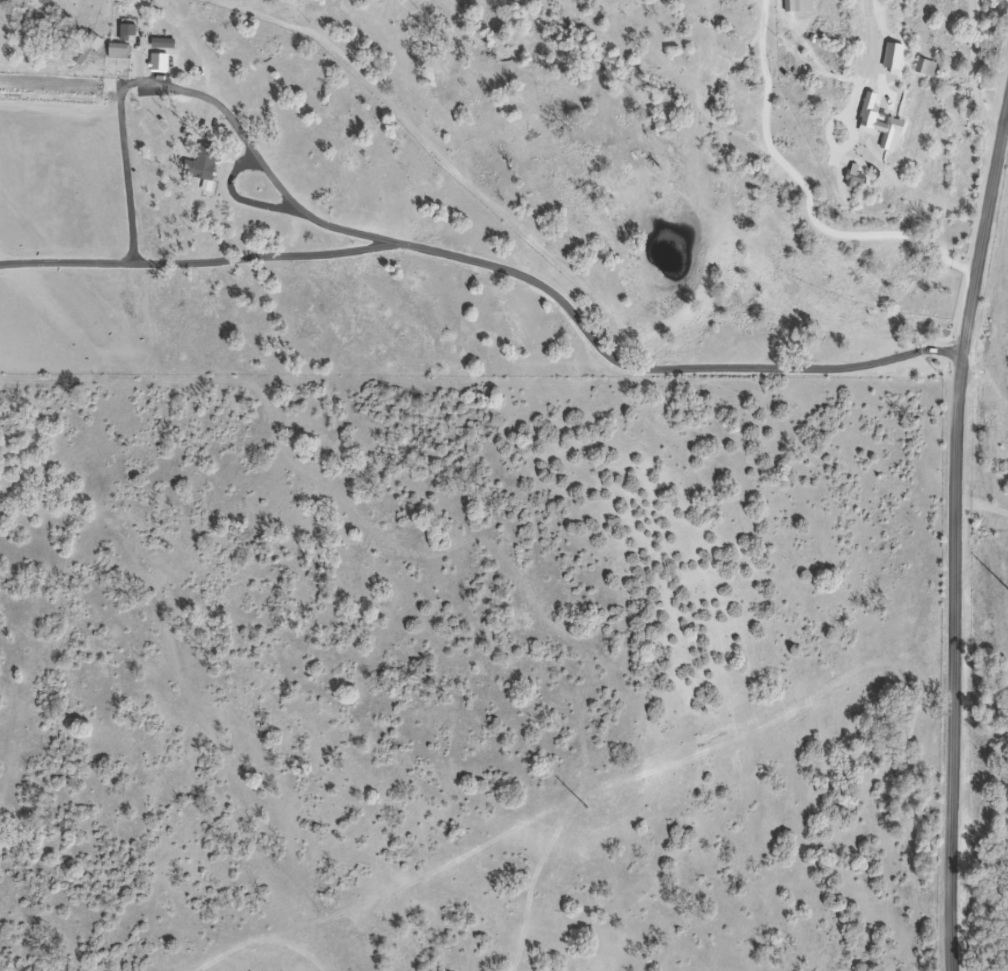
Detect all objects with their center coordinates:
building: (793, 6)
road: (872, 33)
building: (166, 43)
building: (89, 46)
building: (121, 50)
building: (166, 62)
building: (930, 66)
road: (980, 70)
building: (896, 131)
road: (268, 162)
building: (209, 171)
building: (859, 178)
road: (809, 191)
road: (499, 264)
railway: (973, 329)
road: (951, 528)
power tower: (590, 808)

